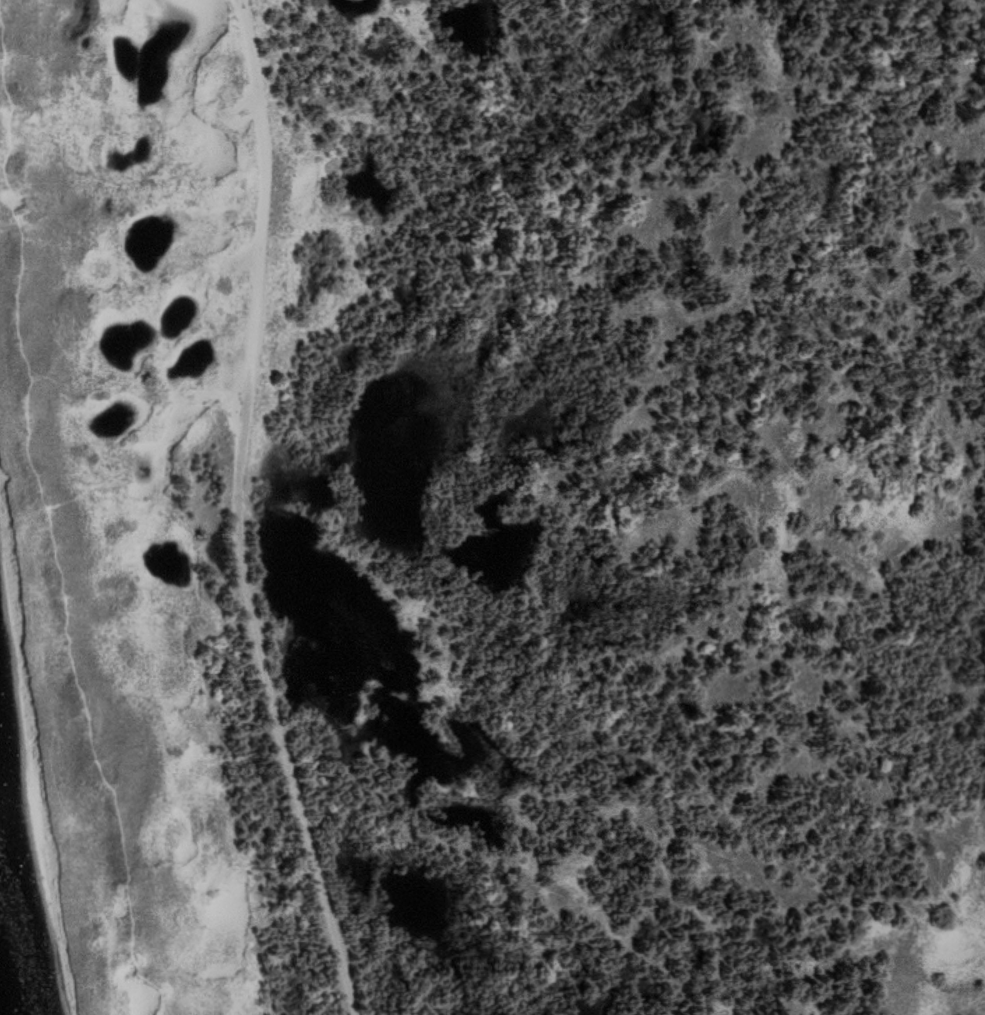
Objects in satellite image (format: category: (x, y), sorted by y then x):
park: (492, 507)
road: (243, 512)

